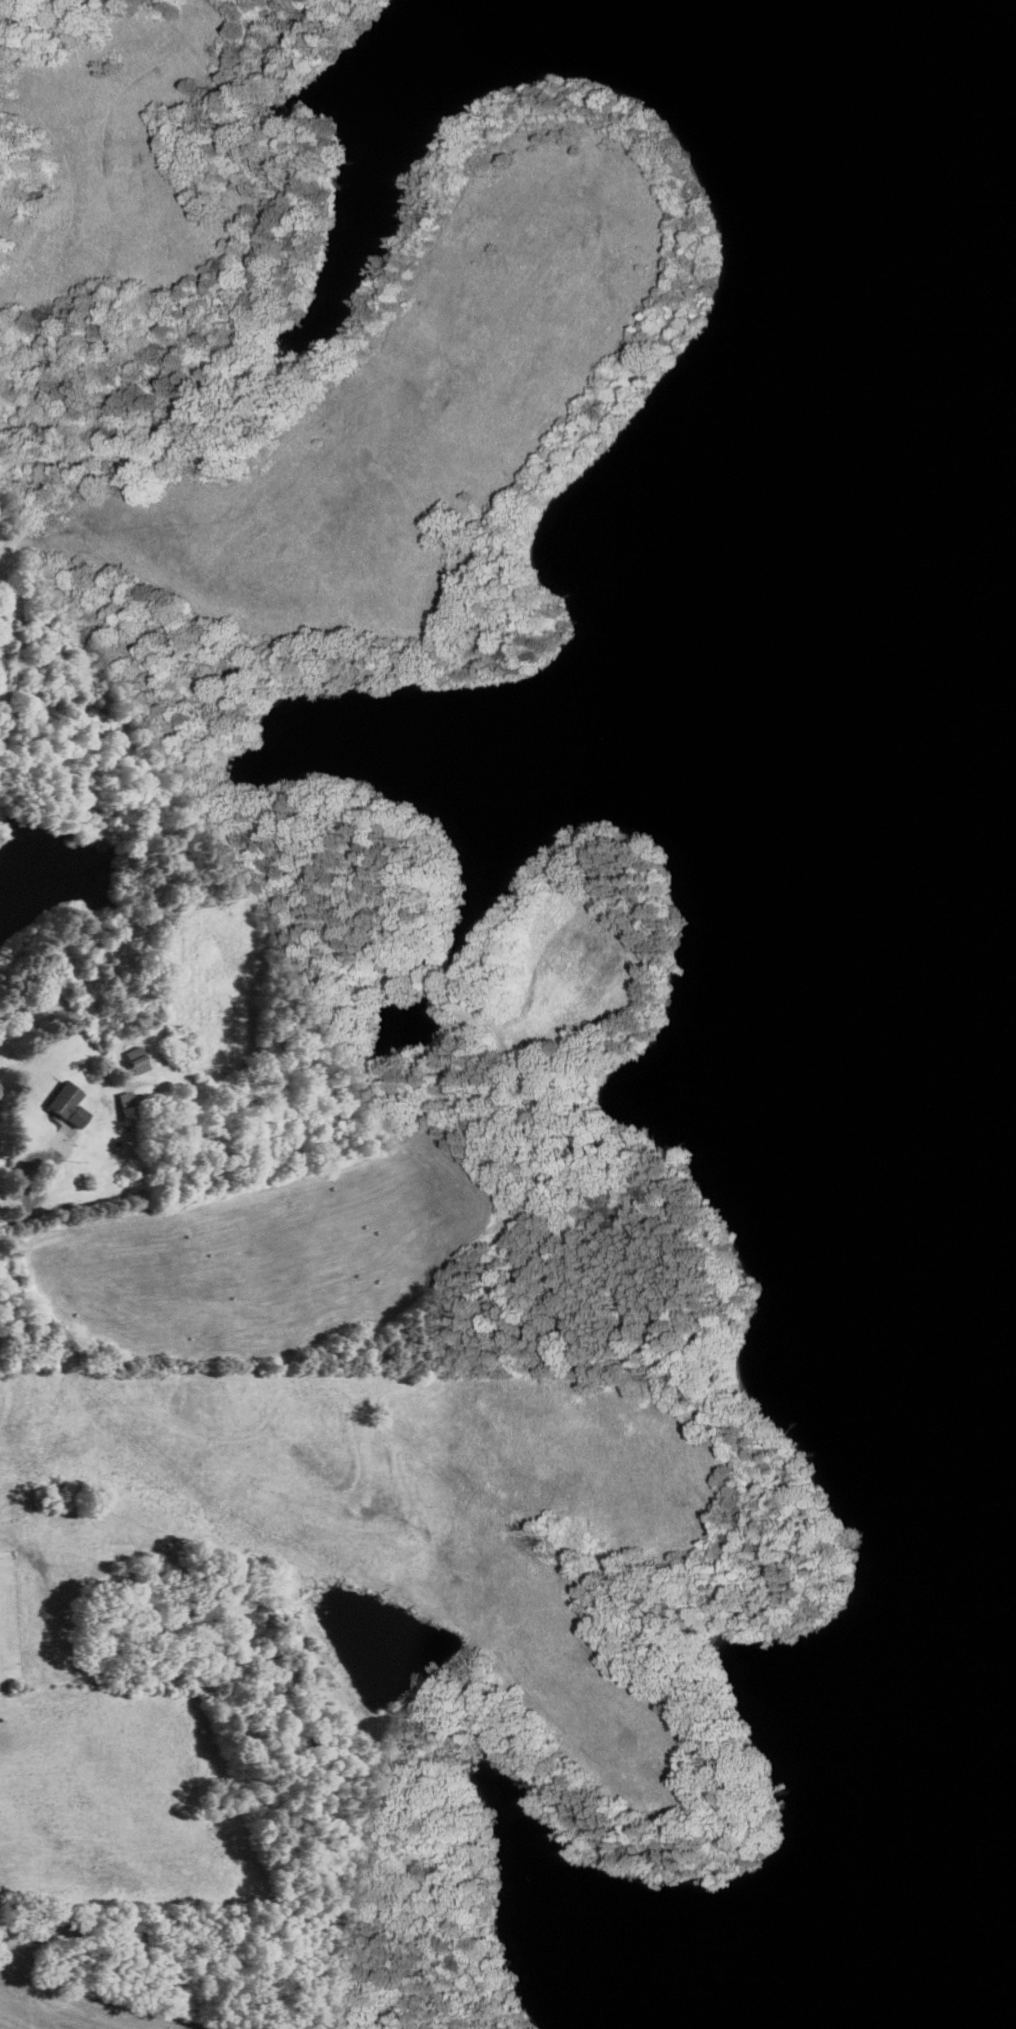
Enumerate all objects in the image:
building: (69, 1105)
building: (128, 1106)
road: (49, 1173)
road: (64, 1203)

